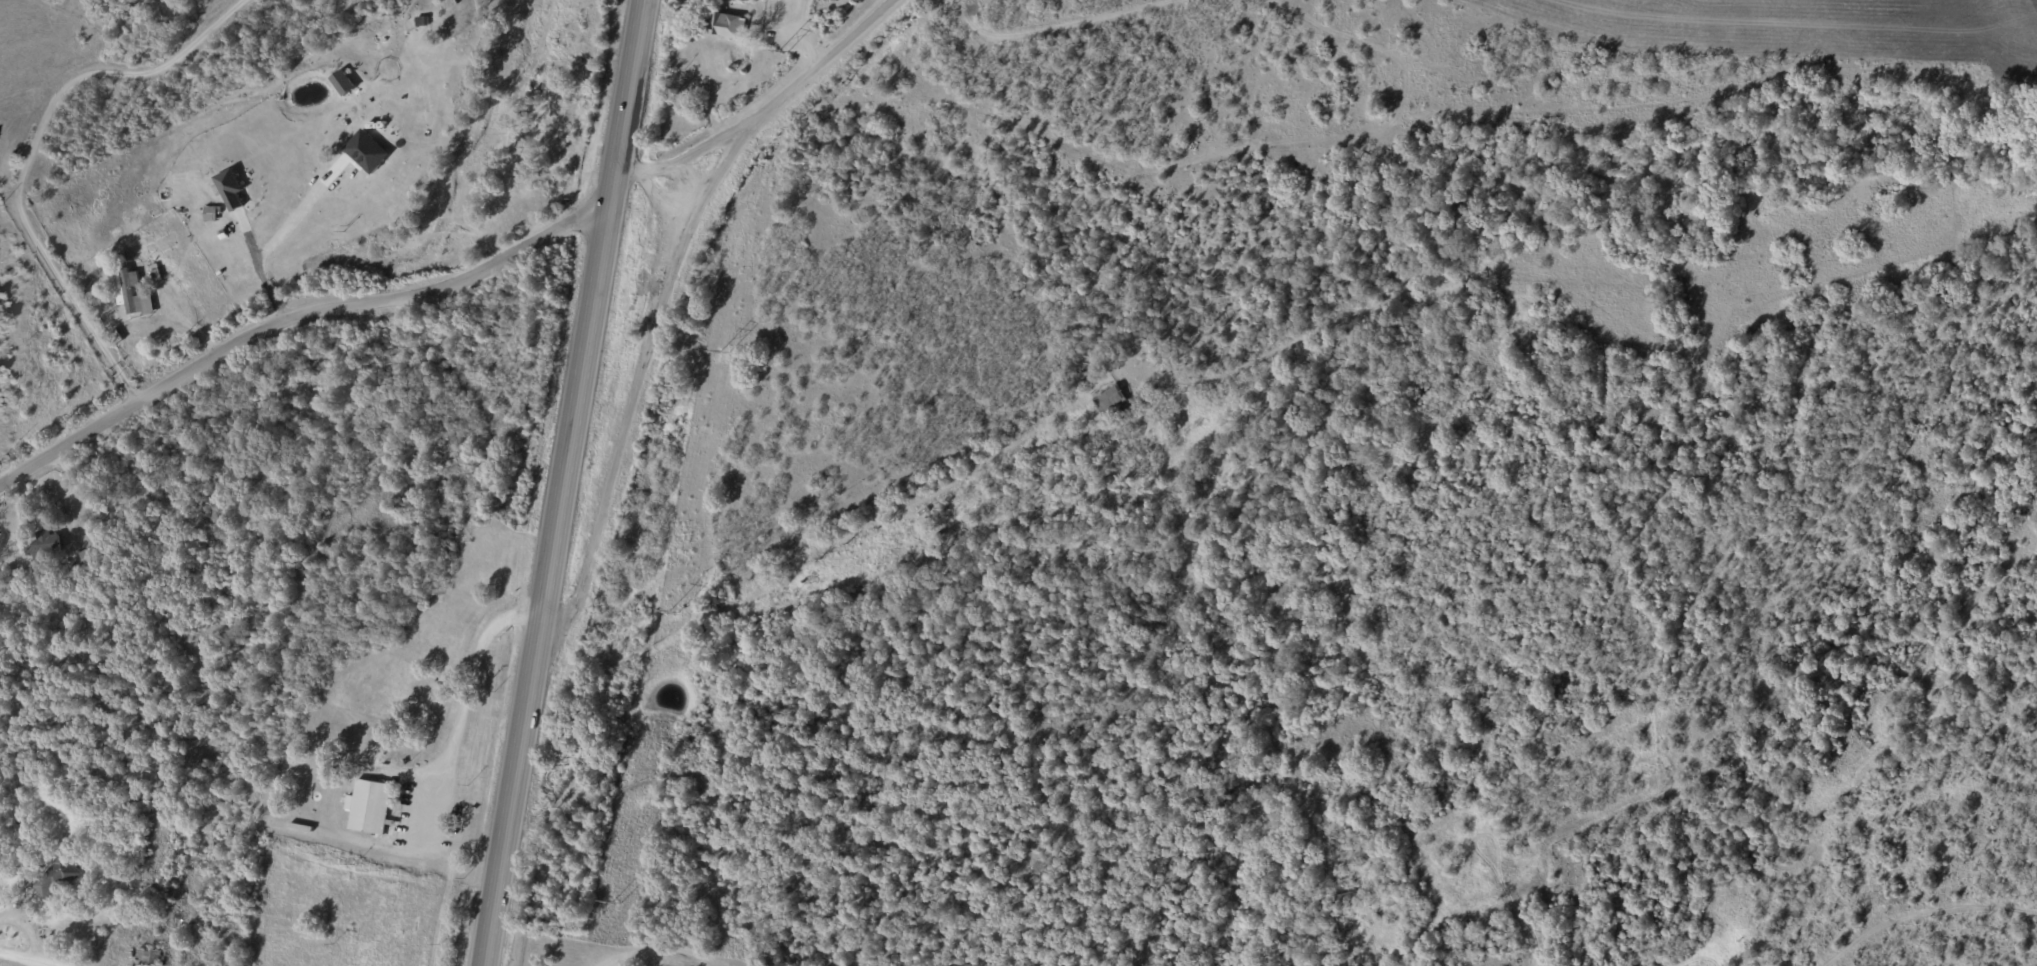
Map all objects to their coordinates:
building: (728, 25)
power tower: (781, 60)
road: (765, 109)
building: (367, 151)
road: (28, 155)
building: (230, 189)
building: (126, 291)
road: (291, 317)
power tower: (724, 352)
road: (640, 373)
building: (1110, 401)
road: (562, 482)
building: (43, 544)
building: (91, 560)
power tower: (672, 613)
road: (460, 685)
building: (368, 807)
building: (27, 857)
building: (55, 878)
power tower: (612, 903)
road: (26, 958)

